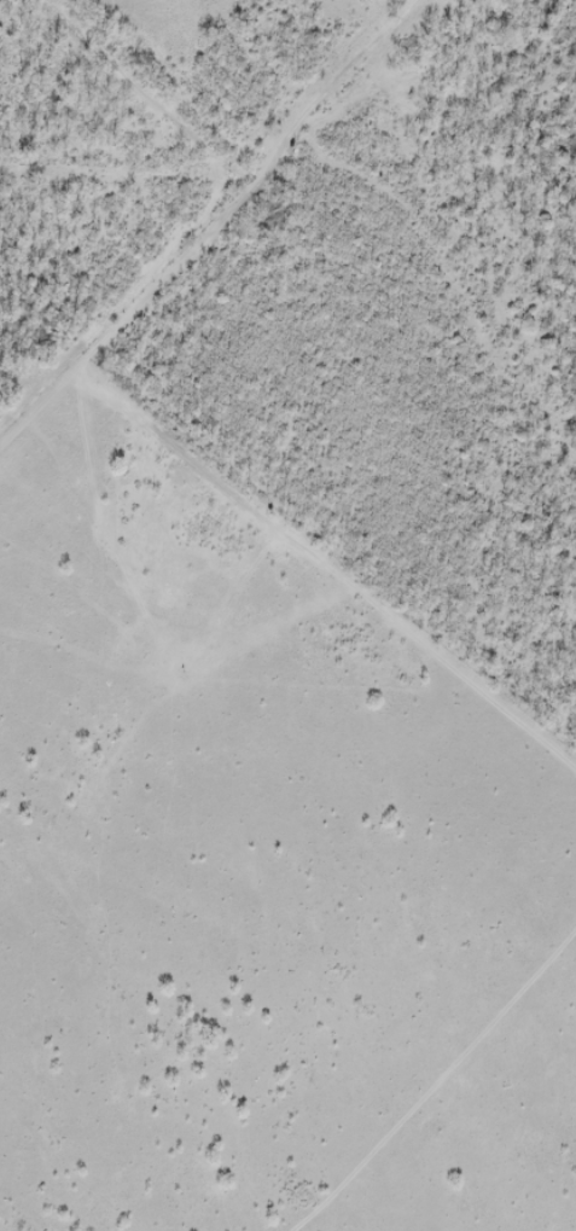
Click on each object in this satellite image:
road: (401, 89)

